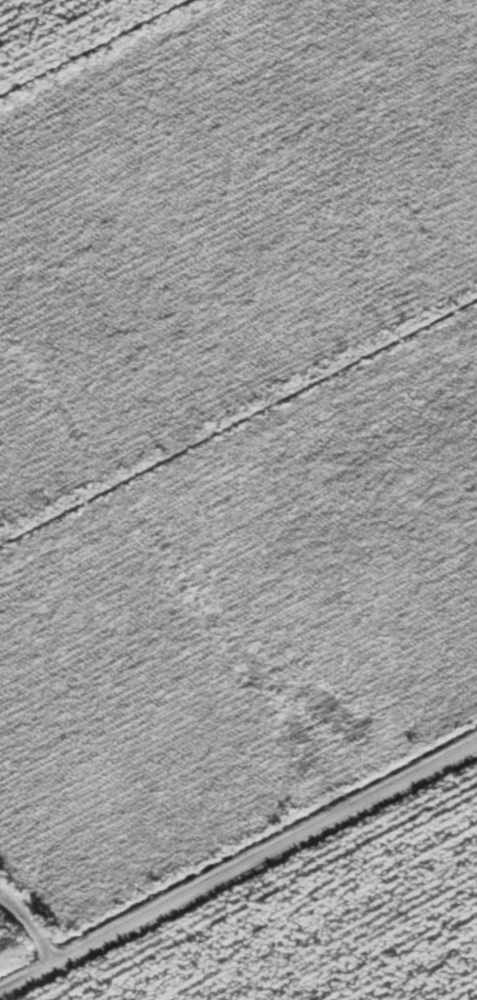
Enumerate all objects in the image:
road: (238, 864)

